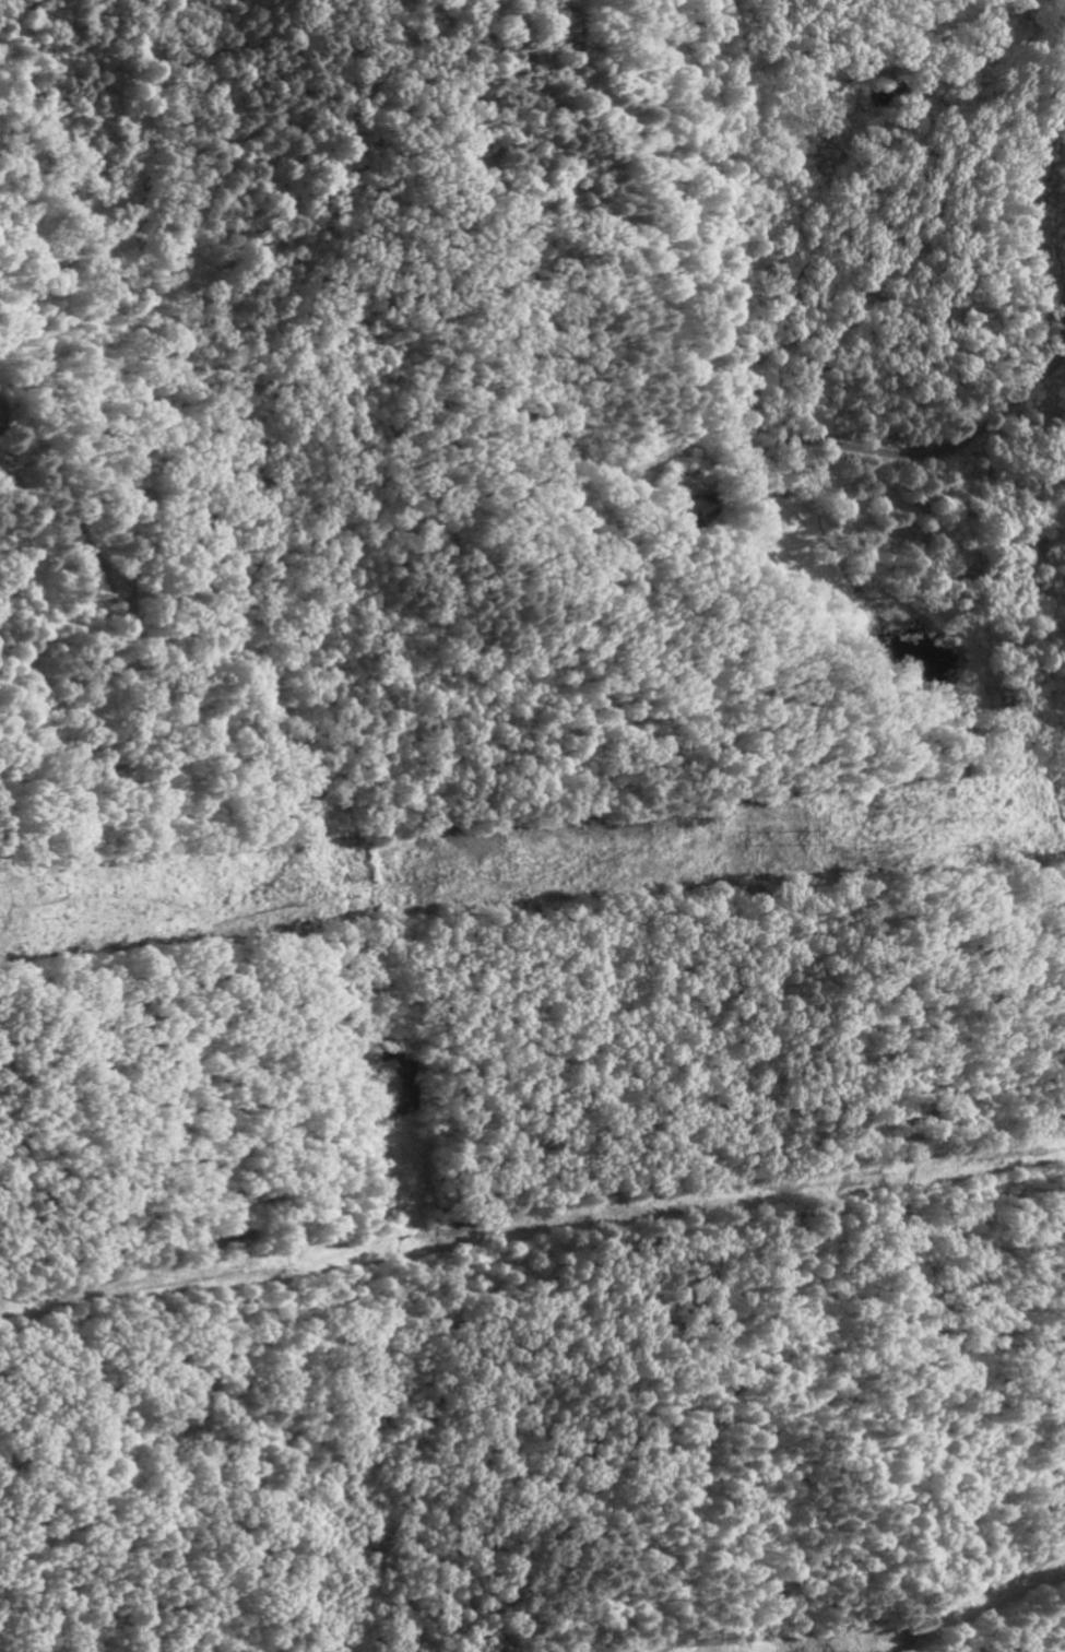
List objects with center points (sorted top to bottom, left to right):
road: (475, 39)
road: (1041, 374)
building: (695, 512)
power tower: (800, 837)

